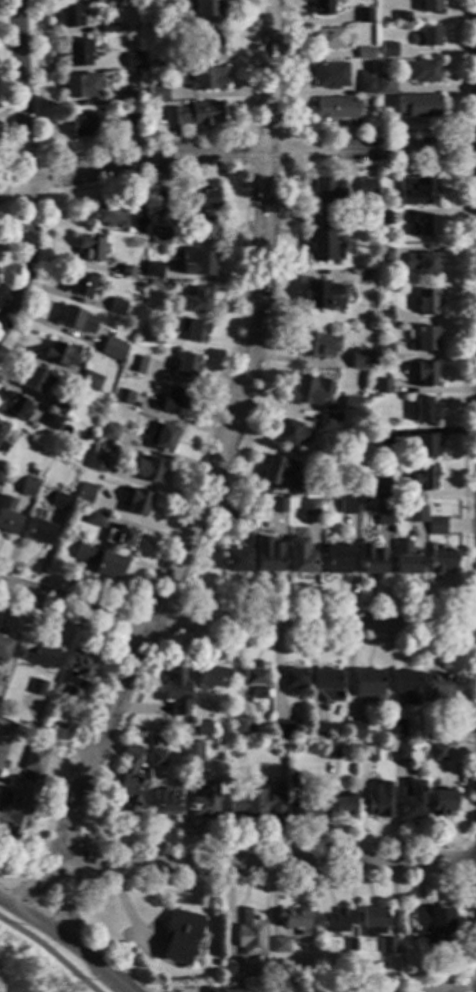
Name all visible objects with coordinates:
building: (100, 0)
building: (425, 6)
building: (320, 8)
building: (204, 11)
building: (69, 16)
building: (361, 16)
building: (400, 18)
building: (166, 24)
building: (108, 29)
building: (120, 29)
building: (424, 38)
building: (326, 39)
building: (207, 44)
building: (385, 51)
building: (77, 53)
building: (362, 54)
building: (133, 61)
building: (176, 62)
building: (115, 63)
building: (421, 73)
building: (328, 76)
building: (201, 79)
building: (363, 84)
building: (383, 85)
building: (80, 87)
building: (156, 94)
building: (135, 95)
building: (412, 106)
building: (333, 109)
building: (193, 116)
building: (129, 118)
building: (84, 123)
road: (251, 152)
road: (27, 169)
building: (365, 188)
building: (415, 192)
building: (328, 194)
building: (202, 199)
building: (160, 201)
building: (109, 216)
building: (136, 218)
building: (381, 219)
building: (201, 227)
building: (420, 227)
building: (158, 237)
building: (323, 240)
building: (90, 249)
building: (383, 256)
building: (196, 264)
building: (424, 265)
building: (151, 270)
building: (125, 272)
building: (79, 285)
building: (320, 297)
building: (196, 302)
building: (425, 303)
building: (116, 308)
building: (383, 316)
building: (71, 318)
building: (190, 331)
building: (154, 337)
building: (420, 340)
building: (314, 345)
building: (110, 351)
building: (382, 352)
building: (59, 355)
building: (358, 360)
building: (134, 365)
building: (184, 367)
building: (422, 376)
building: (35, 381)
building: (88, 382)
building: (380, 387)
building: (304, 392)
building: (122, 397)
building: (173, 403)
building: (349, 405)
building: (59, 406)
building: (15, 409)
building: (421, 411)
building: (0, 420)
building: (51, 422)
building: (325, 423)
building: (0, 425)
building: (1, 433)
building: (107, 433)
building: (289, 434)
building: (380, 437)
building: (160, 439)
road: (222, 446)
building: (2, 448)
building: (420, 448)
building: (96, 463)
building: (148, 470)
building: (274, 471)
building: (1, 474)
building: (422, 480)
building: (380, 487)
building: (295, 488)
building: (26, 489)
building: (343, 491)
building: (85, 494)
building: (58, 502)
building: (134, 502)
building: (345, 506)
building: (276, 507)
building: (309, 507)
building: (239, 513)
building: (414, 514)
building: (8, 517)
building: (94, 519)
building: (381, 519)
building: (435, 527)
building: (38, 530)
building: (121, 538)
building: (404, 560)
building: (235, 561)
building: (336, 561)
building: (370, 561)
building: (439, 561)
building: (99, 562)
building: (266, 563)
building: (300, 564)
road: (235, 622)
building: (3, 649)
building: (39, 657)
building: (74, 678)
building: (211, 679)
building: (290, 680)
building: (253, 682)
building: (365, 684)
building: (326, 687)
building: (405, 687)
building: (0, 688)
building: (36, 688)
building: (436, 689)
building: (175, 693)
building: (241, 728)
building: (393, 728)
building: (202, 730)
building: (354, 730)
building: (281, 731)
building: (317, 731)
building: (436, 733)
building: (191, 751)
building: (329, 752)
building: (365, 753)
building: (398, 754)
building: (436, 754)
building: (155, 759)
building: (128, 782)
building: (291, 782)
building: (21, 795)
building: (202, 802)
building: (411, 802)
building: (375, 803)
building: (165, 804)
building: (254, 804)
building: (441, 804)
building: (342, 808)
building: (307, 811)
road: (275, 868)
road: (37, 884)
road: (66, 907)
building: (292, 921)
building: (371, 922)
building: (430, 922)
building: (332, 924)
building: (249, 935)
building: (178, 937)
road: (64, 944)
building: (277, 946)
building: (349, 947)
building: (385, 947)
road: (49, 952)
park: (36, 965)
building: (231, 970)
parking lot: (104, 984)
building: (296, 988)
building: (389, 988)
building: (212, 990)
building: (234, 991)

